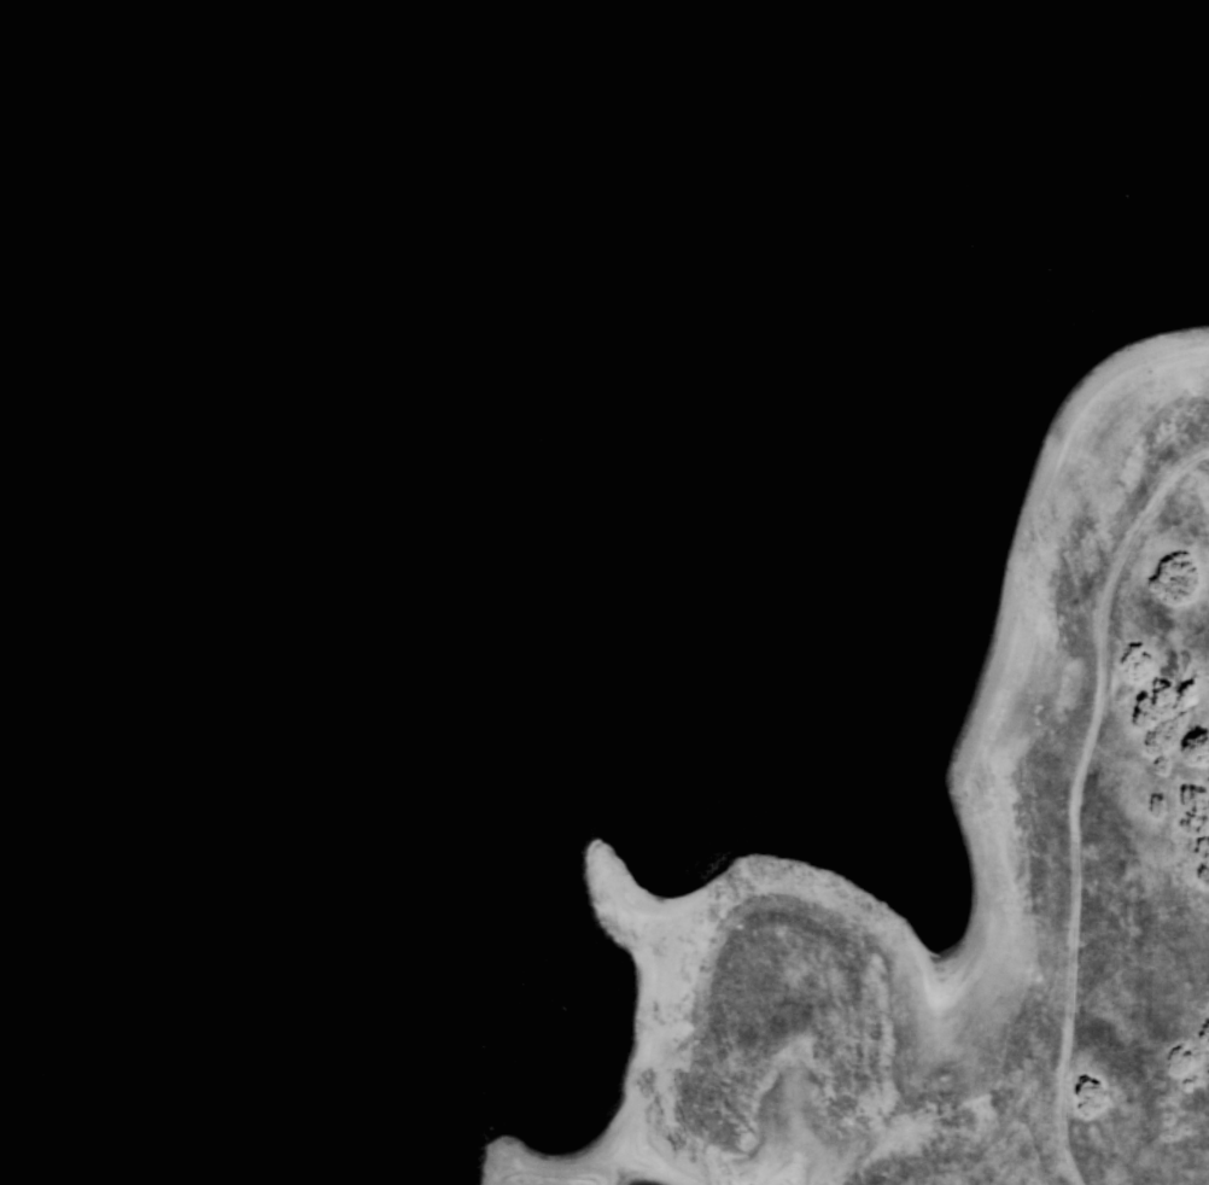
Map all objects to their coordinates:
river: (125, 105)

